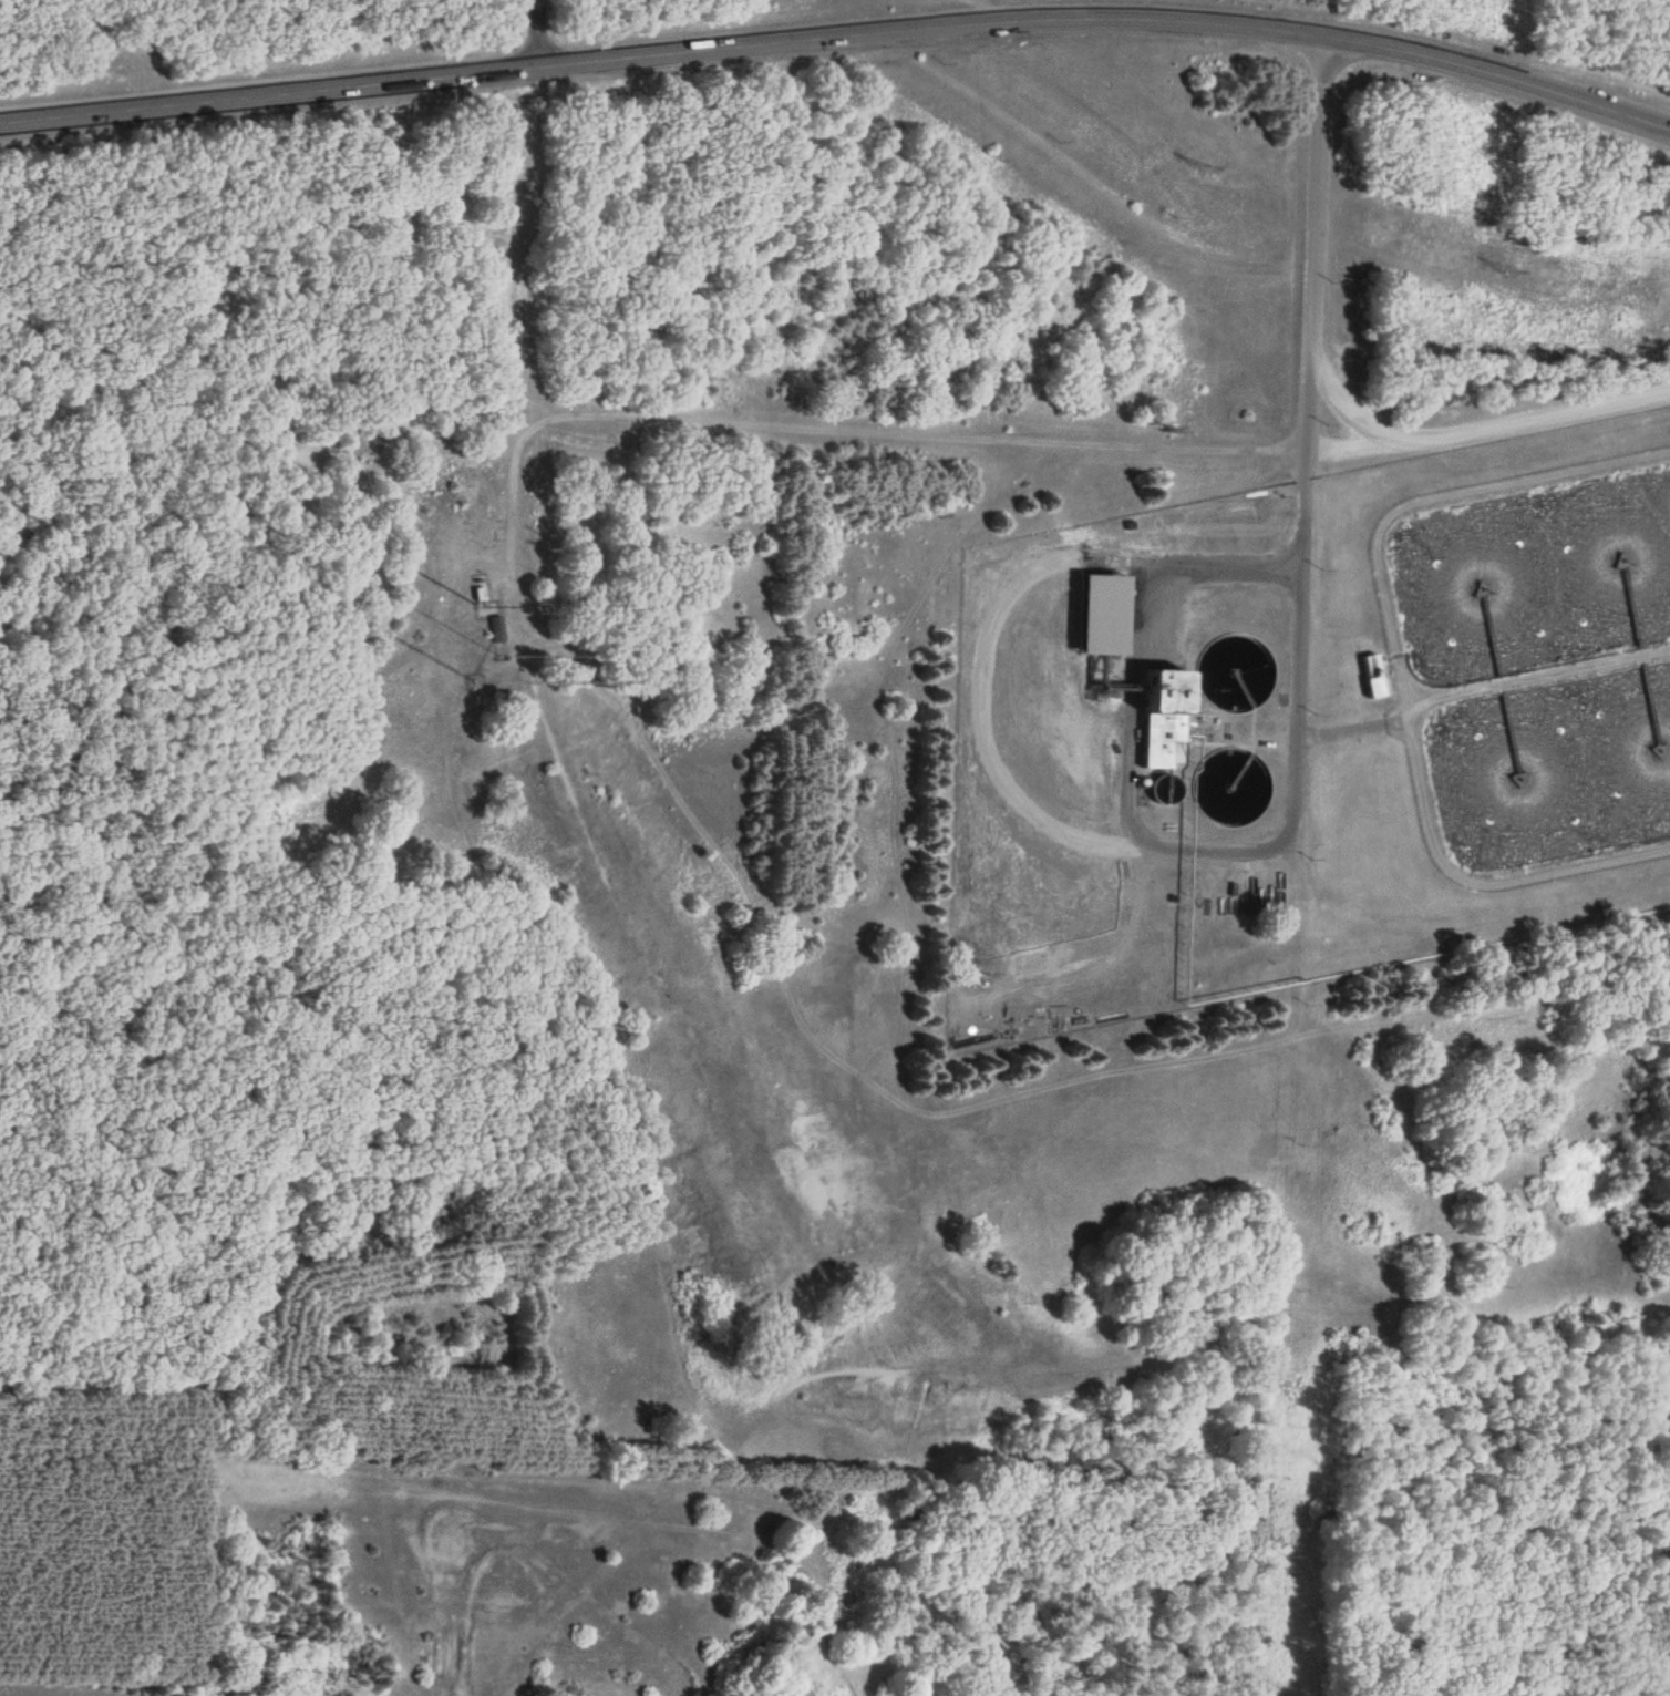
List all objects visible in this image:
road: (534, 35)
road: (839, 40)
road: (1308, 390)
building: (497, 631)
road: (1373, 681)
building: (1177, 719)
wastewater plant: (1312, 729)
road: (1196, 874)

